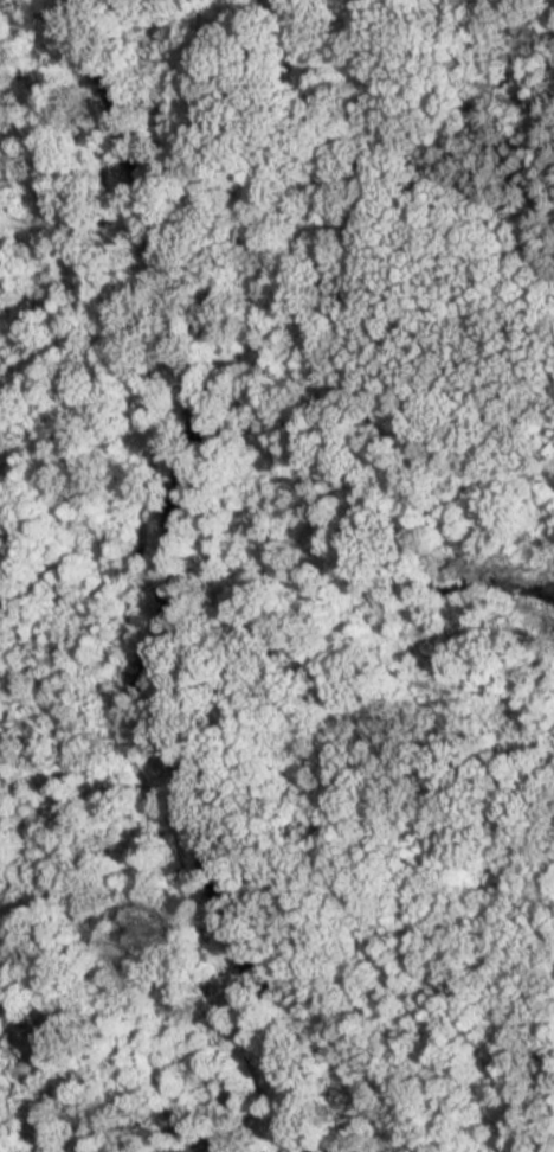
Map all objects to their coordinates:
park: (359, 529)

